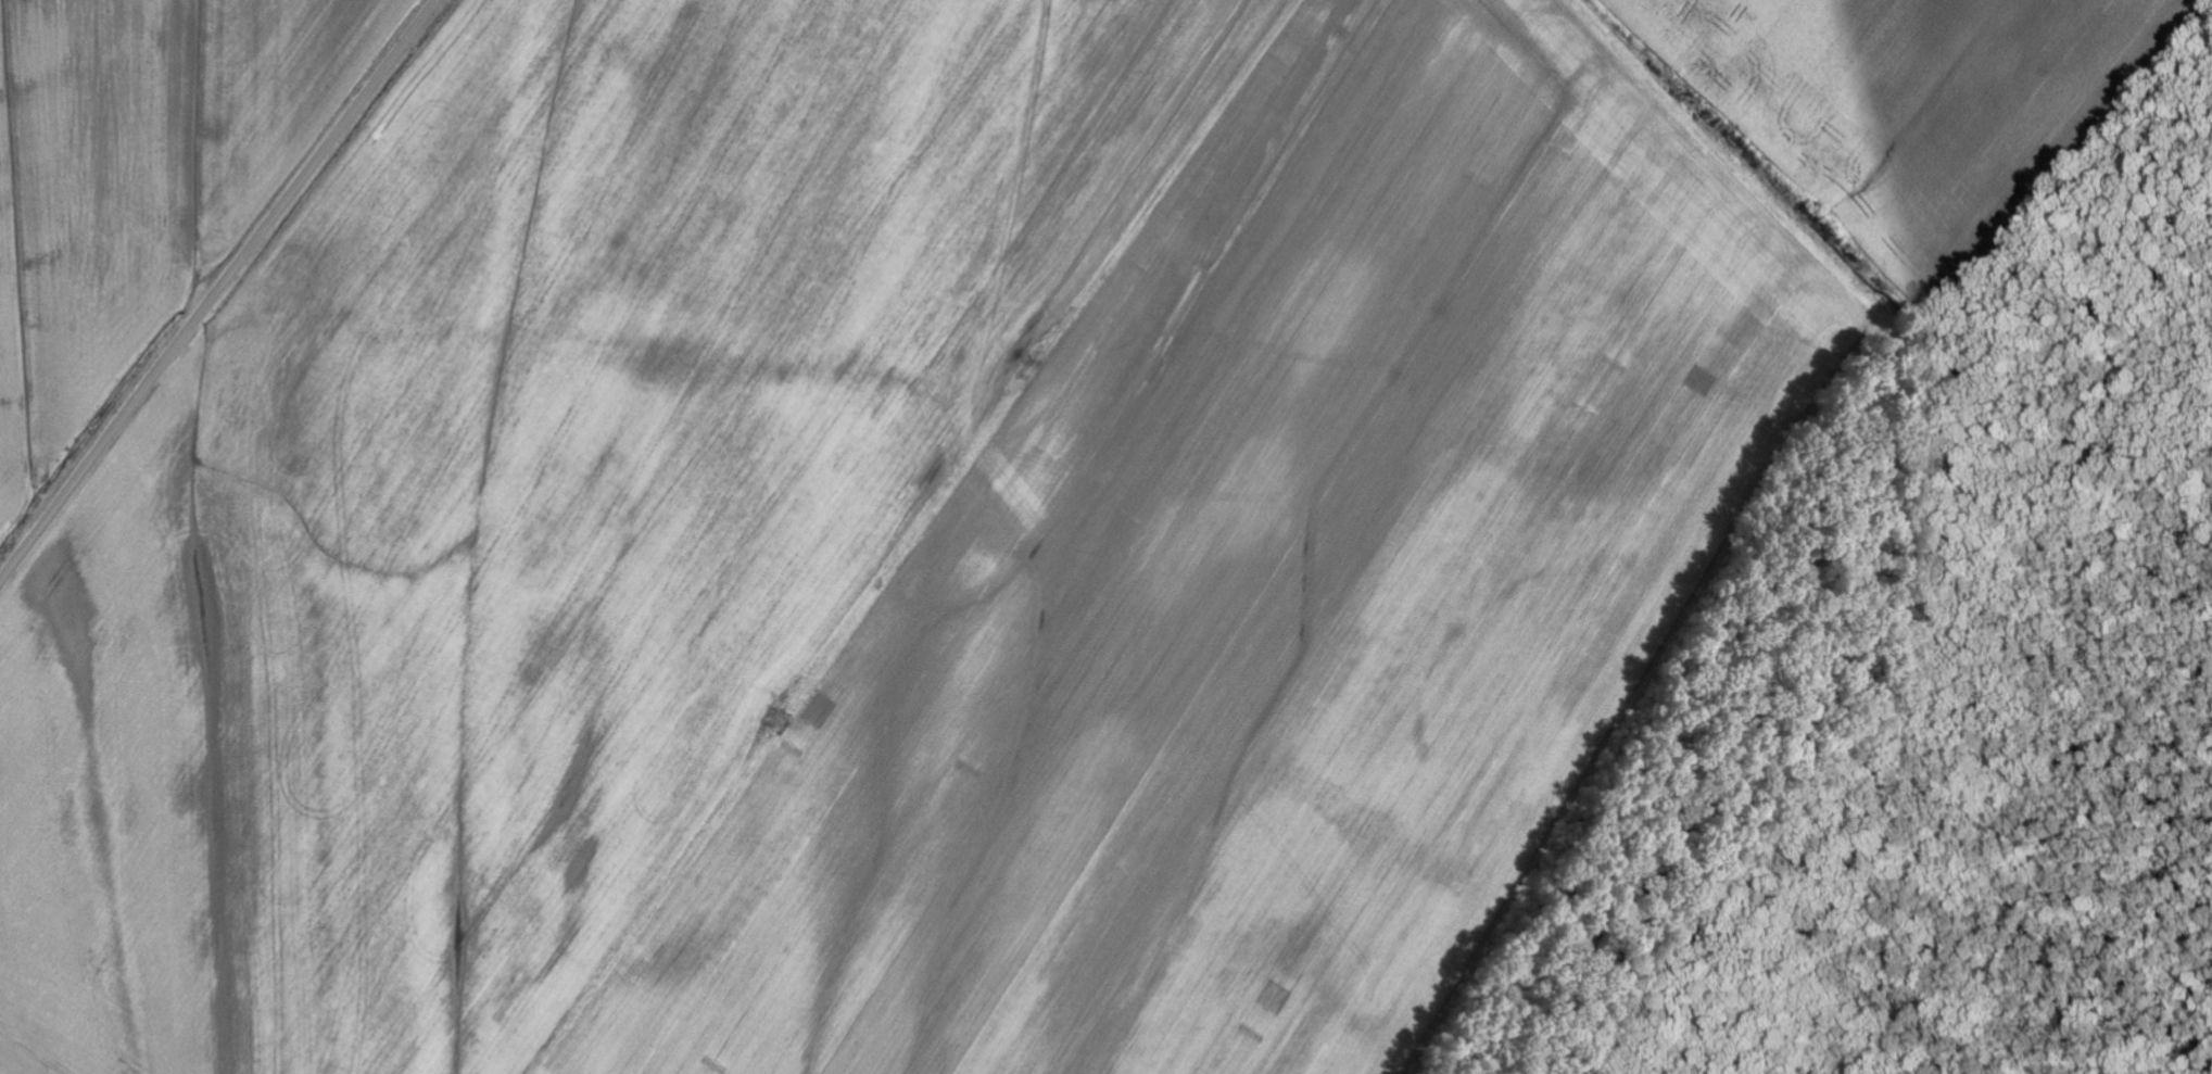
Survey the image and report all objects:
road: (218, 290)

